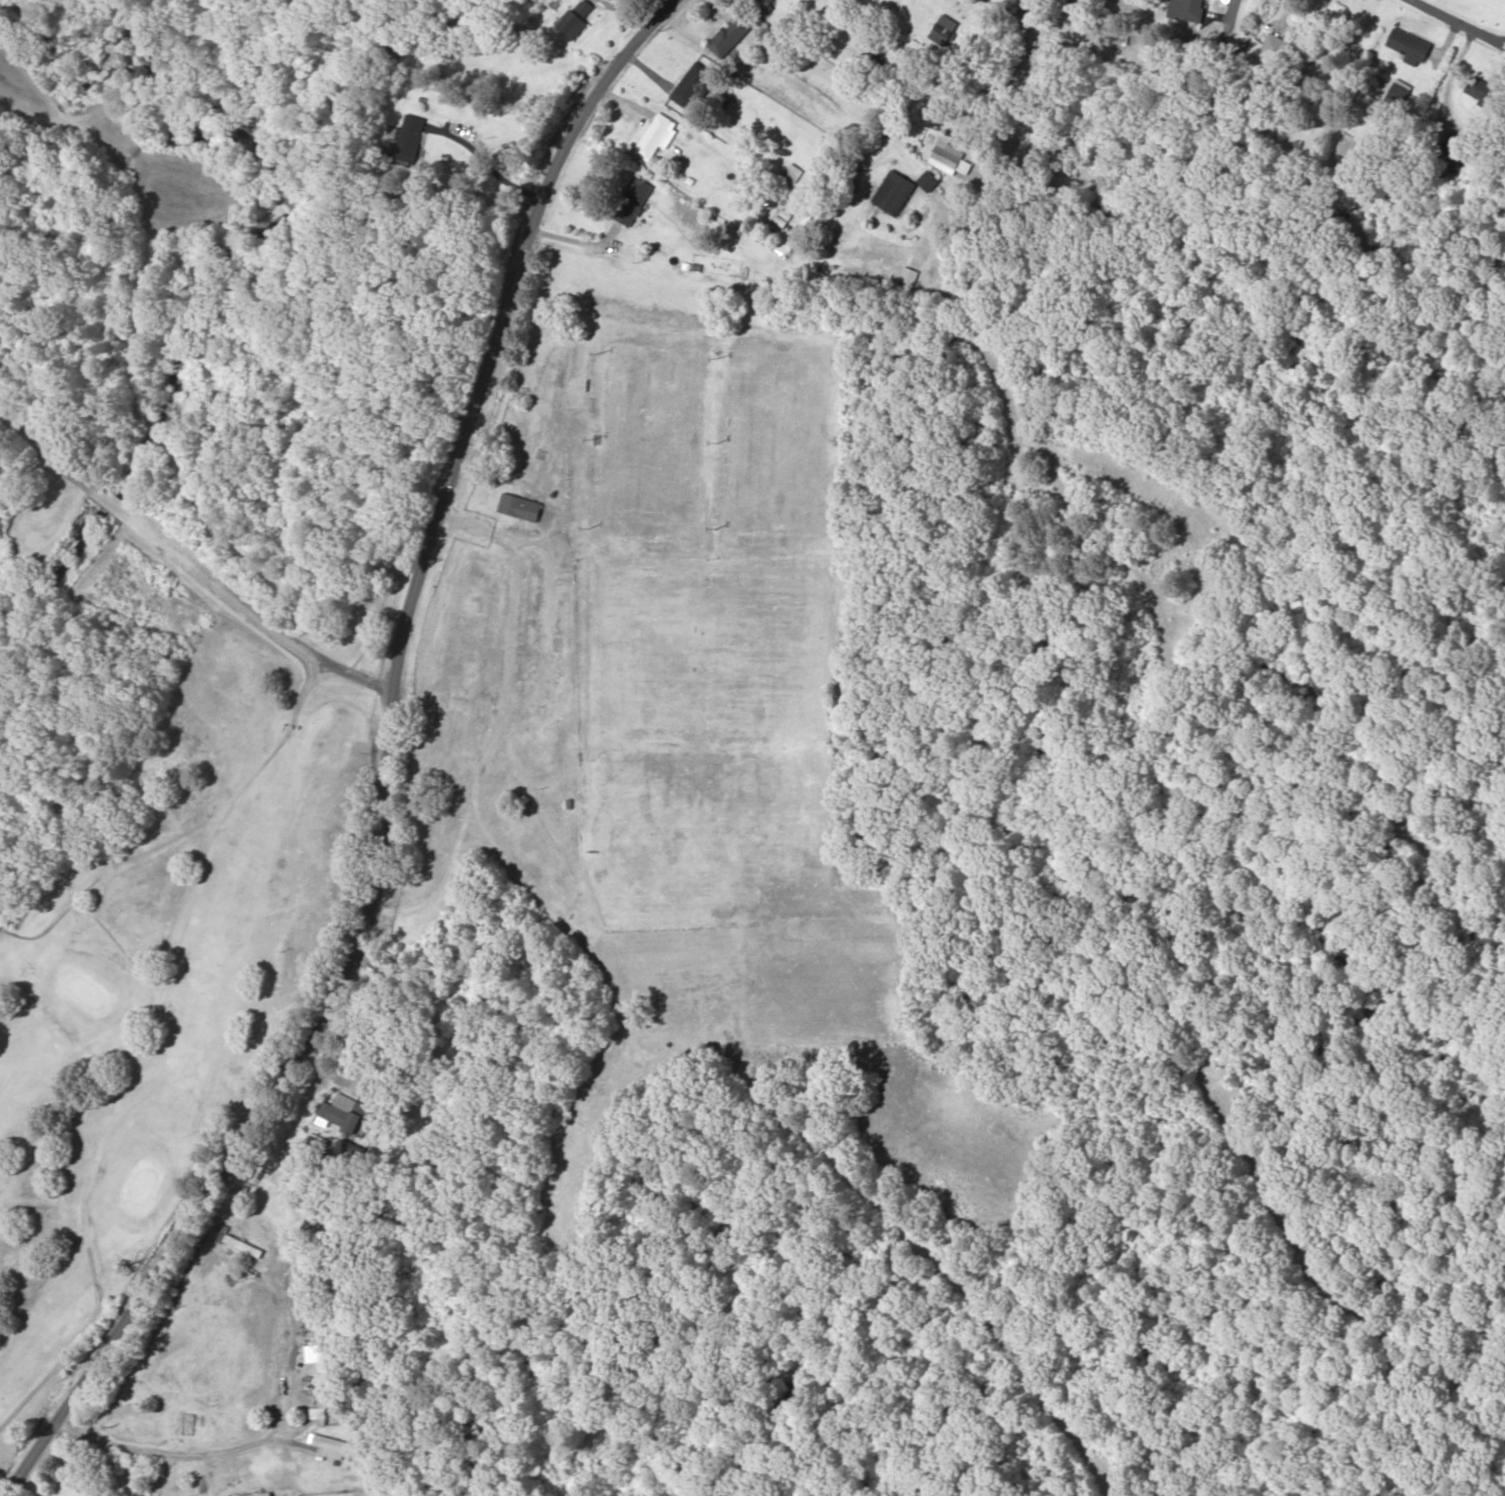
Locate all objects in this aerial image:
building: (765, 3)
building: (1186, 9)
building: (577, 19)
road: (1418, 30)
building: (730, 37)
building: (1408, 45)
building: (1273, 51)
building: (693, 85)
building: (1480, 89)
building: (657, 136)
building: (409, 141)
building: (947, 154)
building: (1445, 156)
building: (793, 172)
building: (928, 180)
building: (894, 192)
building: (635, 201)
building: (524, 506)
road: (187, 587)
road: (406, 775)
park: (139, 915)
building: (349, 1115)
building: (243, 1245)
building: (308, 1282)
building: (321, 1409)
road: (392, 1431)
building: (336, 1448)
building: (268, 1494)

